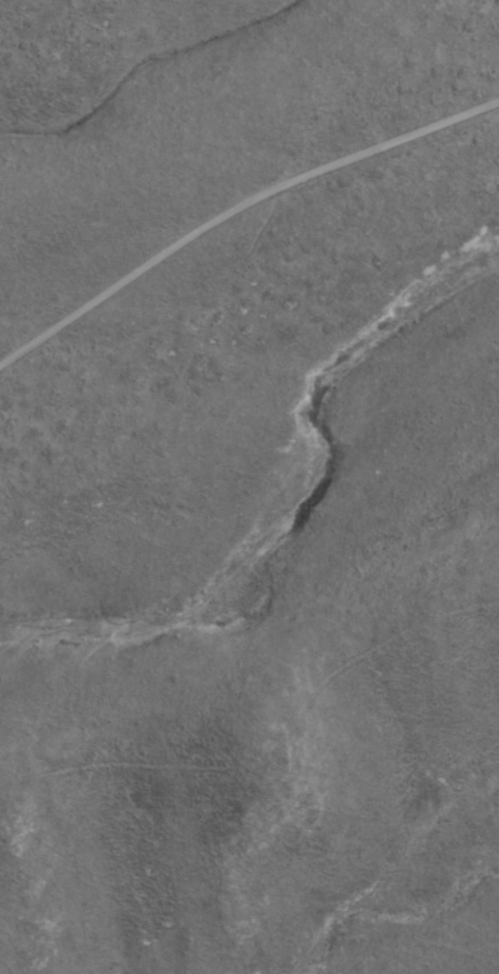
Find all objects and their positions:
road: (249, 635)

